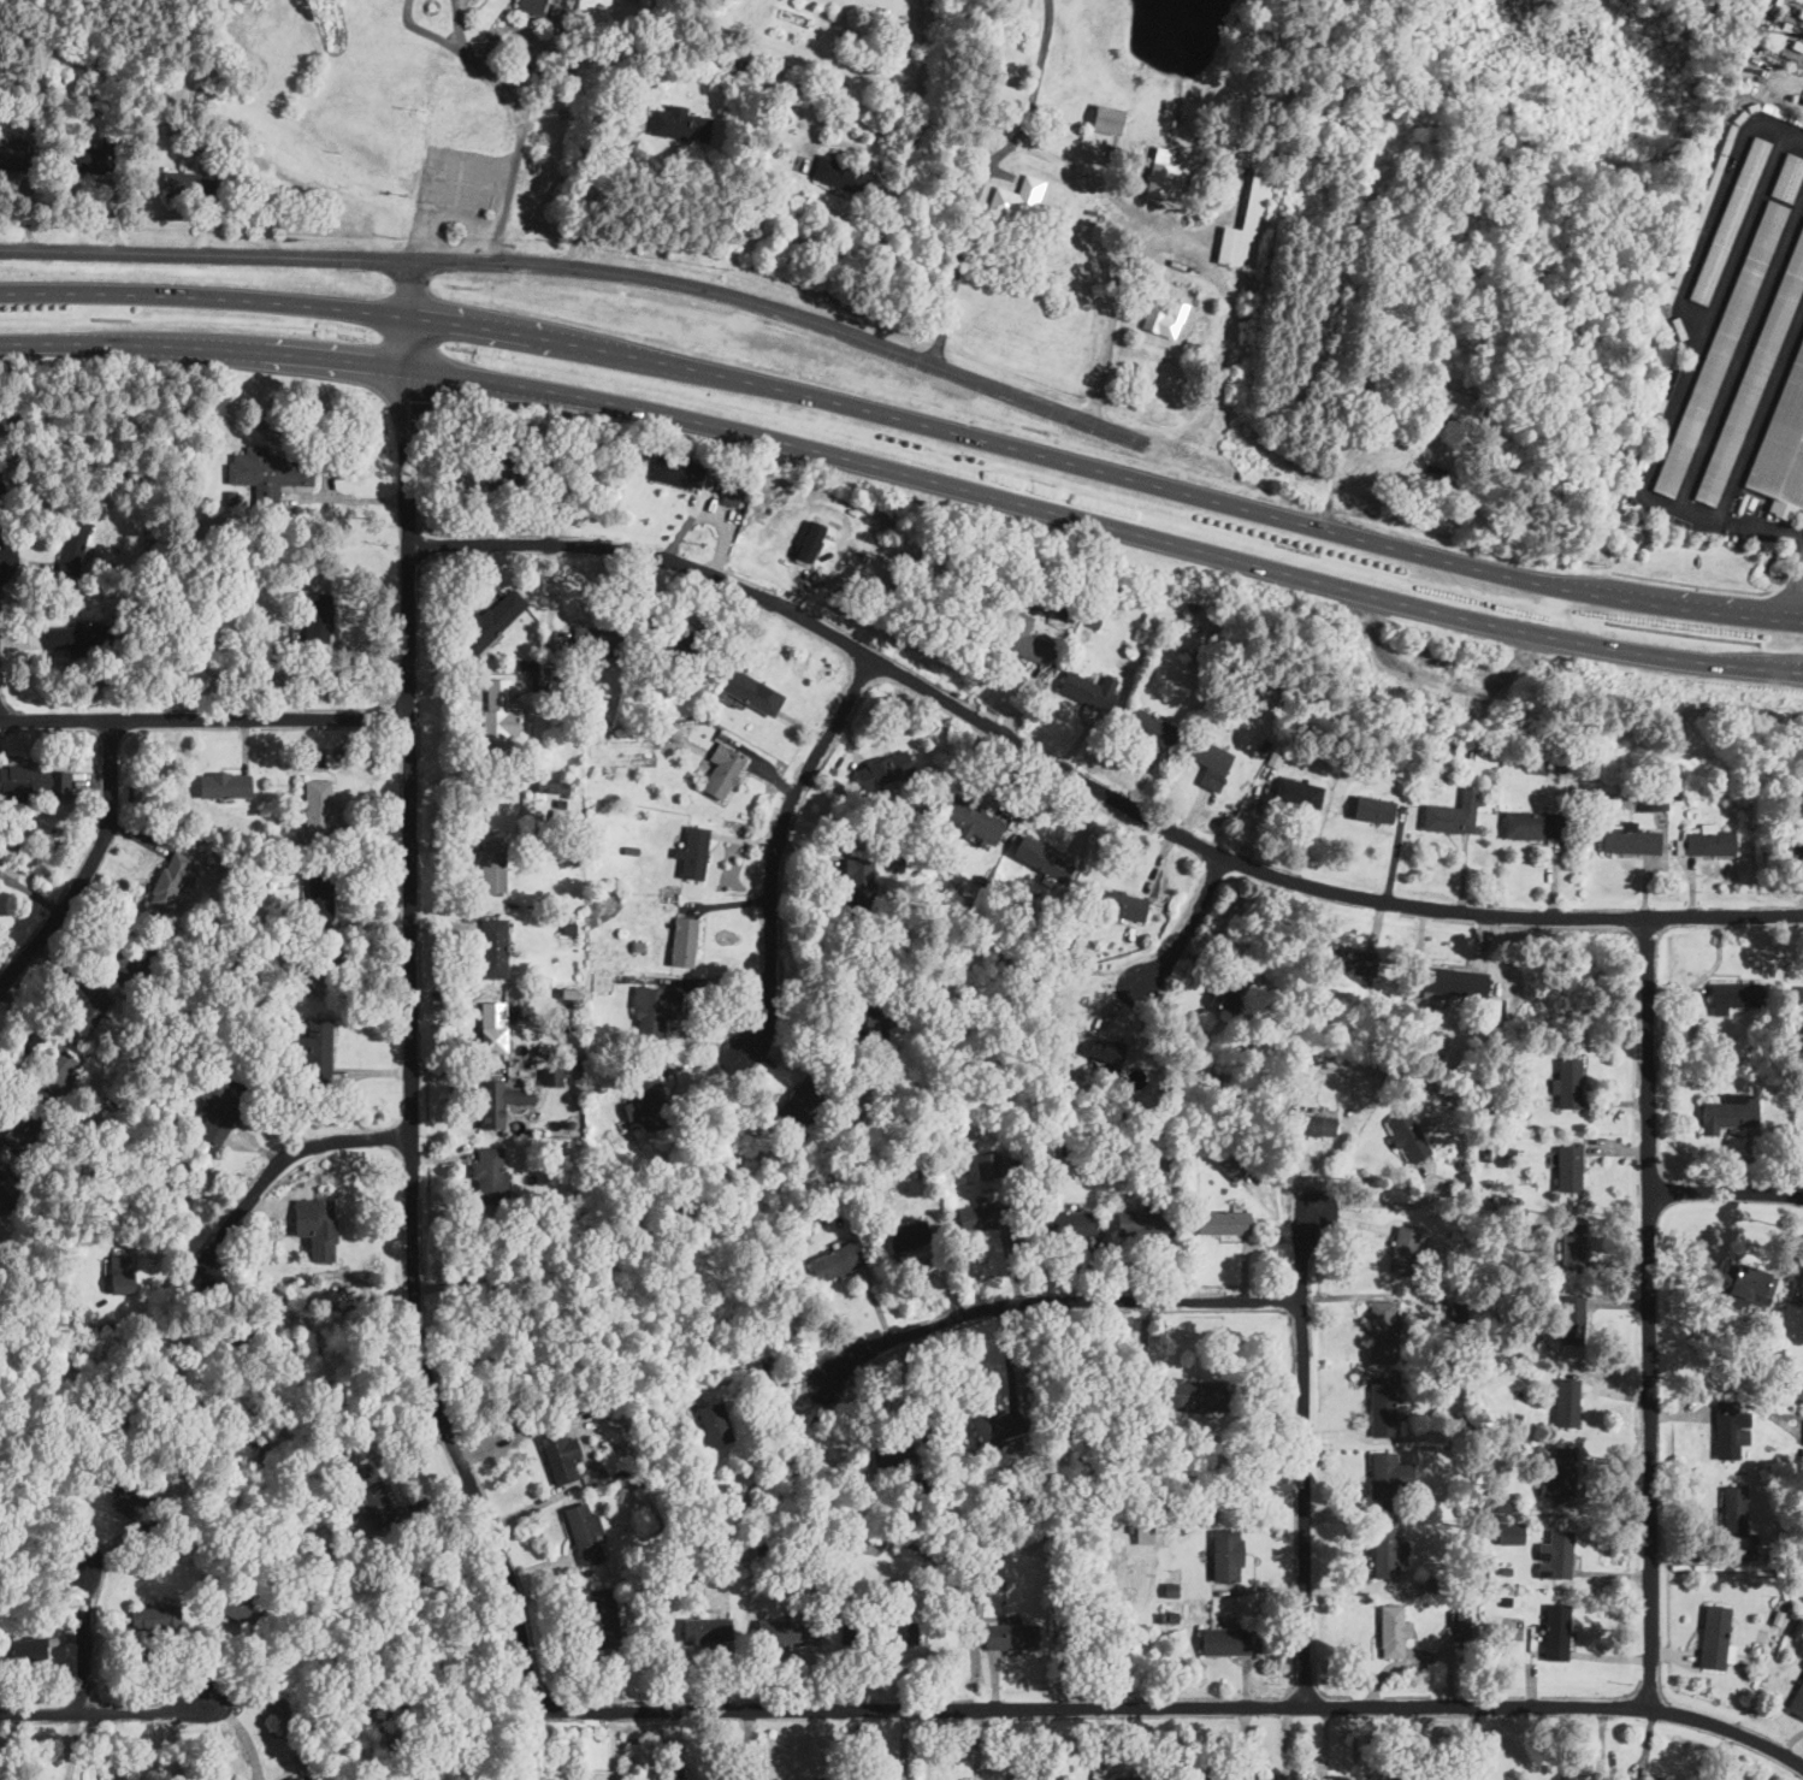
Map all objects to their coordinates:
building: (1019, 4)
building: (531, 6)
building: (555, 10)
building: (1801, 13)
building: (1785, 29)
building: (805, 39)
building: (574, 46)
building: (1797, 46)
road: (207, 49)
building: (563, 59)
building: (737, 60)
road: (107, 69)
building: (90, 81)
building: (1007, 93)
building: (83, 106)
building: (1754, 106)
building: (1739, 116)
building: (1107, 119)
road: (520, 122)
building: (178, 125)
building: (680, 125)
building: (1731, 130)
building: (886, 136)
building: (208, 144)
building: (14, 153)
building: (90, 158)
building: (118, 171)
road: (905, 171)
building: (840, 175)
building: (1169, 175)
road: (982, 177)
building: (1789, 177)
building: (189, 184)
road: (590, 188)
building: (1017, 200)
road: (1714, 201)
building: (1255, 203)
building: (1699, 213)
building: (1730, 219)
building: (1099, 231)
building: (1195, 239)
building: (1214, 243)
road: (206, 254)
road: (1206, 262)
building: (1668, 294)
building: (1248, 300)
road: (784, 311)
building: (1474, 312)
road: (1115, 315)
building: (1164, 318)
building: (1679, 327)
building: (1720, 349)
road: (1740, 349)
building: (1752, 378)
building: (1666, 389)
road: (1680, 389)
building: (1449, 403)
road: (1760, 412)
road: (906, 420)
building: (556, 449)
building: (1783, 449)
building: (497, 468)
road: (906, 472)
building: (679, 473)
building: (267, 474)
building: (738, 480)
road: (1381, 481)
building: (0, 487)
building: (731, 493)
building: (232, 496)
building: (698, 504)
building: (725, 511)
building: (811, 542)
building: (71, 546)
building: (150, 554)
building: (1066, 568)
building: (1027, 573)
building: (64, 578)
road: (1693, 583)
building: (78, 589)
road: (1790, 590)
road: (1795, 592)
building: (1016, 597)
building: (1069, 611)
building: (317, 617)
building: (1154, 619)
building: (1096, 620)
building: (491, 622)
building: (79, 637)
building: (1090, 637)
building: (598, 641)
building: (680, 643)
building: (1031, 647)
building: (274, 651)
building: (1187, 652)
building: (1194, 657)
building: (274, 664)
building: (528, 666)
building: (549, 668)
building: (580, 675)
building: (540, 682)
building: (752, 693)
building: (1088, 693)
building: (1371, 693)
road: (202, 717)
building: (502, 720)
building: (1426, 723)
building: (1152, 728)
building: (675, 734)
building: (657, 737)
building: (1264, 745)
building: (1323, 745)
building: (1401, 747)
building: (1471, 751)
building: (1276, 759)
building: (1213, 764)
building: (1536, 764)
building: (725, 771)
building: (887, 771)
road: (466, 779)
road: (1088, 779)
building: (34, 780)
building: (552, 782)
building: (224, 785)
building: (1677, 791)
building: (1299, 793)
building: (1604, 798)
building: (1653, 800)
building: (1692, 800)
building: (562, 804)
building: (317, 809)
building: (1376, 810)
building: (1453, 815)
building: (1769, 818)
building: (974, 820)
building: (1533, 824)
building: (23, 826)
building: (1630, 840)
building: (1802, 840)
building: (1707, 842)
road: (775, 845)
building: (1784, 847)
building: (633, 851)
building: (694, 853)
building: (285, 857)
building: (1045, 859)
building: (899, 863)
building: (492, 867)
road: (95, 869)
building: (173, 880)
building: (982, 880)
building: (861, 891)
building: (319, 894)
building: (1119, 904)
building: (573, 915)
road: (1182, 919)
building: (571, 930)
building: (209, 938)
building: (685, 941)
building: (493, 948)
building: (643, 948)
building: (1210, 950)
building: (131, 960)
building: (1353, 963)
building: (301, 972)
building: (1456, 982)
building: (194, 983)
building: (604, 983)
building: (900, 986)
road: (410, 992)
building: (1228, 994)
building: (1734, 995)
building: (1799, 998)
building: (571, 999)
building: (655, 1011)
building: (89, 1012)
building: (877, 1021)
building: (493, 1027)
building: (318, 1048)
building: (1107, 1053)
building: (1299, 1053)
building: (1299, 1065)
building: (580, 1066)
building: (57, 1071)
building: (554, 1076)
building: (1207, 1083)
building: (1568, 1083)
building: (1783, 1084)
building: (1413, 1089)
building: (804, 1098)
building: (649, 1100)
building: (116, 1101)
building: (296, 1102)
building: (499, 1102)
building: (191, 1105)
building: (221, 1110)
building: (1730, 1113)
building: (1485, 1114)
building: (20, 1124)
building: (1326, 1126)
building: (1411, 1139)
building: (1486, 1142)
building: (1065, 1146)
building: (1088, 1147)
building: (1509, 1152)
building: (1488, 1155)
road: (283, 1158)
building: (1174, 1159)
building: (991, 1165)
building: (1018, 1166)
building: (1236, 1166)
building: (183, 1169)
building: (1571, 1169)
building: (915, 1172)
building: (490, 1176)
building: (1466, 1178)
building: (1453, 1184)
road: (1726, 1190)
building: (1514, 1199)
building: (4, 1200)
road: (1382, 1201)
building: (25, 1202)
building: (528, 1202)
building: (818, 1214)
building: (985, 1216)
building: (1225, 1223)
building: (1069, 1224)
building: (1146, 1224)
building: (318, 1226)
building: (908, 1236)
building: (1458, 1236)
building: (1500, 1242)
building: (770, 1244)
building: (1574, 1248)
building: (1406, 1250)
building: (838, 1260)
building: (479, 1266)
building: (765, 1266)
building: (120, 1273)
building: (1746, 1283)
building: (278, 1284)
building: (475, 1284)
building: (66, 1294)
road: (1053, 1295)
building: (1506, 1295)
road: (1649, 1311)
building: (1460, 1313)
building: (1571, 1320)
building: (1384, 1331)
building: (241, 1332)
building: (1775, 1356)
road: (756, 1377)
building: (1194, 1396)
building: (1567, 1402)
building: (610, 1405)
building: (1796, 1407)
building: (1384, 1408)
building: (1133, 1420)
building: (1485, 1421)
building: (1518, 1421)
building: (716, 1424)
building: (1460, 1425)
building: (995, 1429)
building: (1728, 1431)
road: (1300, 1445)
building: (335, 1447)
building: (899, 1449)
building: (562, 1457)
building: (1559, 1473)
building: (1391, 1479)
building: (372, 1495)
building: (135, 1507)
building: (1505, 1507)
building: (1488, 1508)
building: (1734, 1510)
building: (1465, 1512)
building: (668, 1526)
building: (1131, 1528)
building: (1149, 1530)
building: (1041, 1531)
building: (586, 1534)
building: (1511, 1534)
building: (1755, 1538)
building: (681, 1543)
building: (758, 1543)
building: (772, 1547)
building: (667, 1548)
building: (1384, 1553)
building: (1228, 1556)
building: (1557, 1556)
building: (1772, 1556)
building: (1508, 1563)
building: (1786, 1563)
building: (1511, 1572)
building: (987, 1578)
building: (1466, 1578)
building: (1000, 1580)
building: (1429, 1585)
building: (1174, 1591)
building: (661, 1601)
building: (1506, 1601)
building: (1523, 1602)
building: (230, 1604)
building: (1793, 1614)
building: (156, 1616)
building: (605, 1616)
building: (1175, 1618)
building: (1163, 1619)
building: (1464, 1619)
building: (1779, 1619)
building: (1492, 1628)
building: (1797, 1628)
building: (708, 1631)
building: (1395, 1632)
building: (1556, 1632)
building: (790, 1633)
building: (879, 1634)
building: (1012, 1637)
road: (83, 1638)
building: (1716, 1639)
building: (1228, 1642)
building: (26, 1649)
building: (1797, 1702)
road: (1170, 1703)
road: (108, 1714)
building: (1205, 1776)
building: (1417, 1776)
building: (1044, 1778)
building: (1130, 1778)
building: (1341, 1778)
building: (297, 1779)
building: (301, 1779)
building: (799, 1779)
building: (1245, 1779)
building: (1561, 1779)
building: (1638, 1779)

